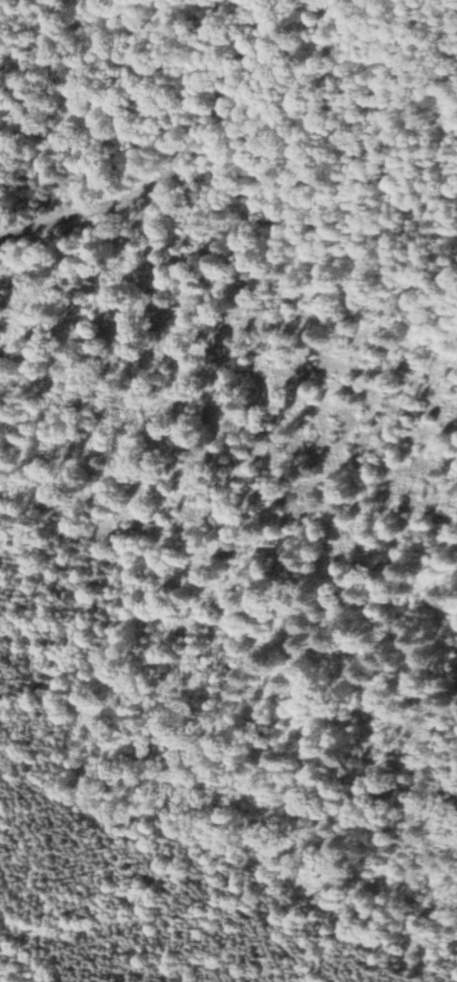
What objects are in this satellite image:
road: (212, 95)
road: (88, 209)
road: (216, 396)

